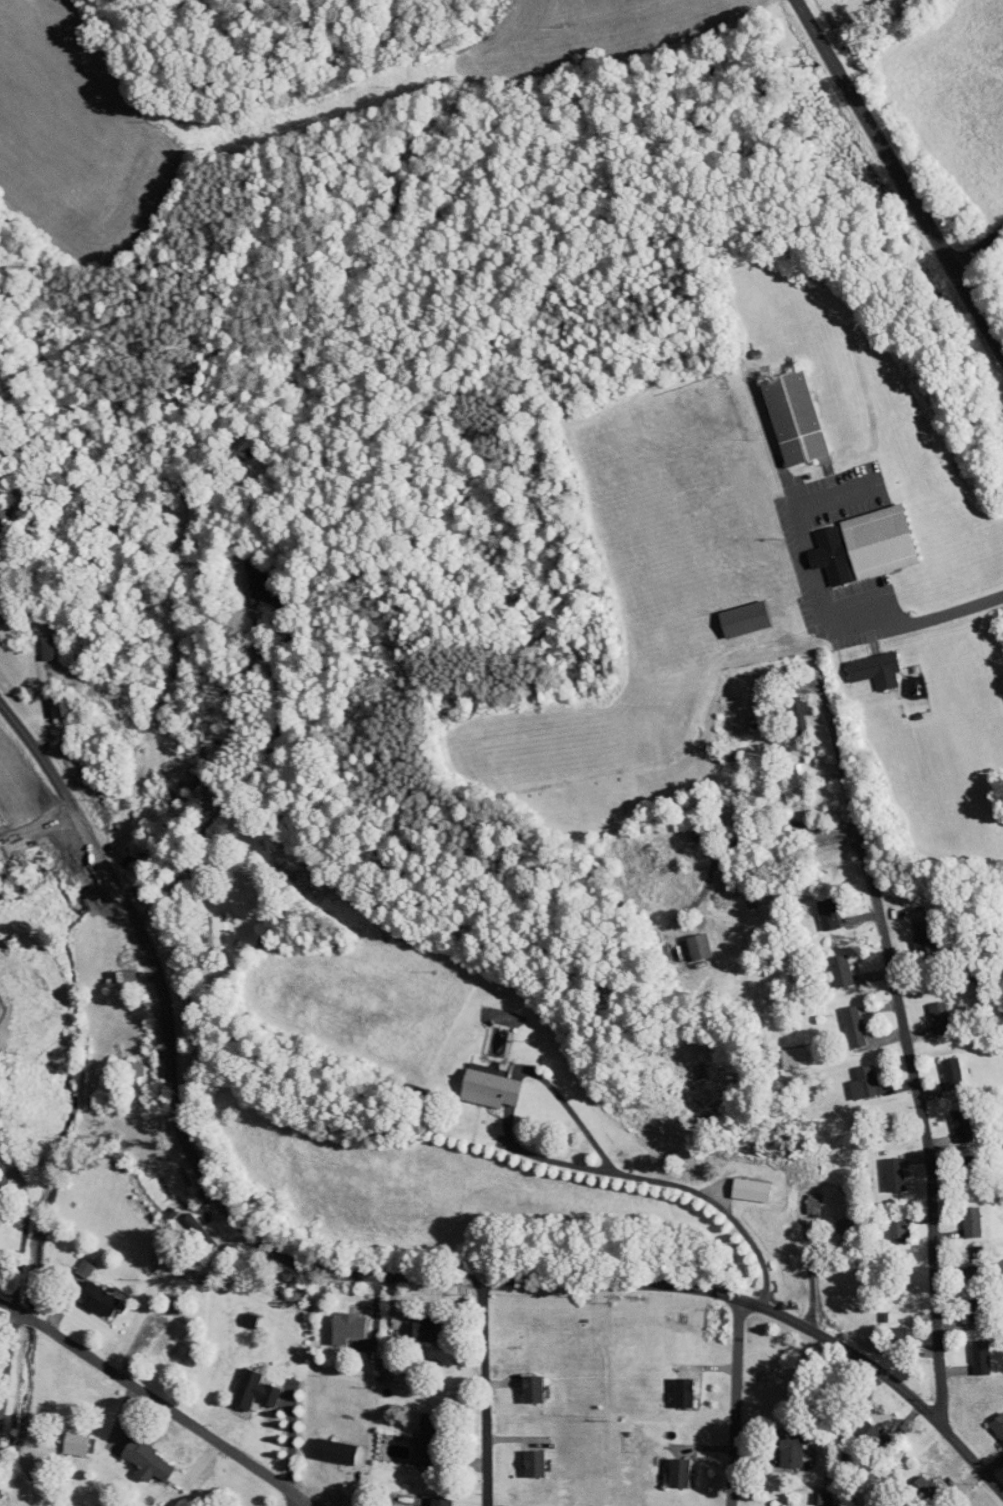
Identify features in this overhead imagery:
road: (811, 22)
road: (842, 75)
road: (931, 227)
road: (978, 246)
building: (782, 413)
building: (852, 539)
building: (246, 574)
road: (946, 610)
building: (731, 613)
building: (34, 641)
building: (862, 664)
building: (45, 701)
building: (784, 705)
building: (782, 772)
road: (243, 780)
building: (814, 907)
building: (202, 926)
building: (911, 928)
building: (686, 940)
building: (828, 963)
building: (113, 969)
building: (927, 1011)
building: (840, 1019)
building: (780, 1051)
building: (939, 1066)
building: (121, 1071)
building: (852, 1076)
building: (476, 1082)
road: (916, 1098)
road: (574, 1115)
building: (949, 1119)
building: (881, 1168)
road: (659, 1182)
building: (738, 1183)
building: (801, 1197)
building: (958, 1215)
building: (825, 1223)
building: (186, 1224)
building: (884, 1226)
road: (9, 1235)
building: (71, 1262)
road: (359, 1275)
building: (86, 1293)
road: (3, 1312)
building: (236, 1314)
building: (335, 1321)
building: (410, 1323)
building: (885, 1325)
building: (967, 1350)
building: (519, 1382)
building: (240, 1383)
building: (670, 1386)
road: (486, 1392)
road: (736, 1402)
road: (160, 1403)
building: (992, 1423)
building: (856, 1427)
building: (414, 1434)
building: (62, 1436)
road: (292, 1440)
building: (778, 1442)
building: (133, 1454)
building: (521, 1457)
building: (666, 1466)
building: (908, 1481)
building: (423, 1499)
road: (292, 1500)
building: (771, 1504)

